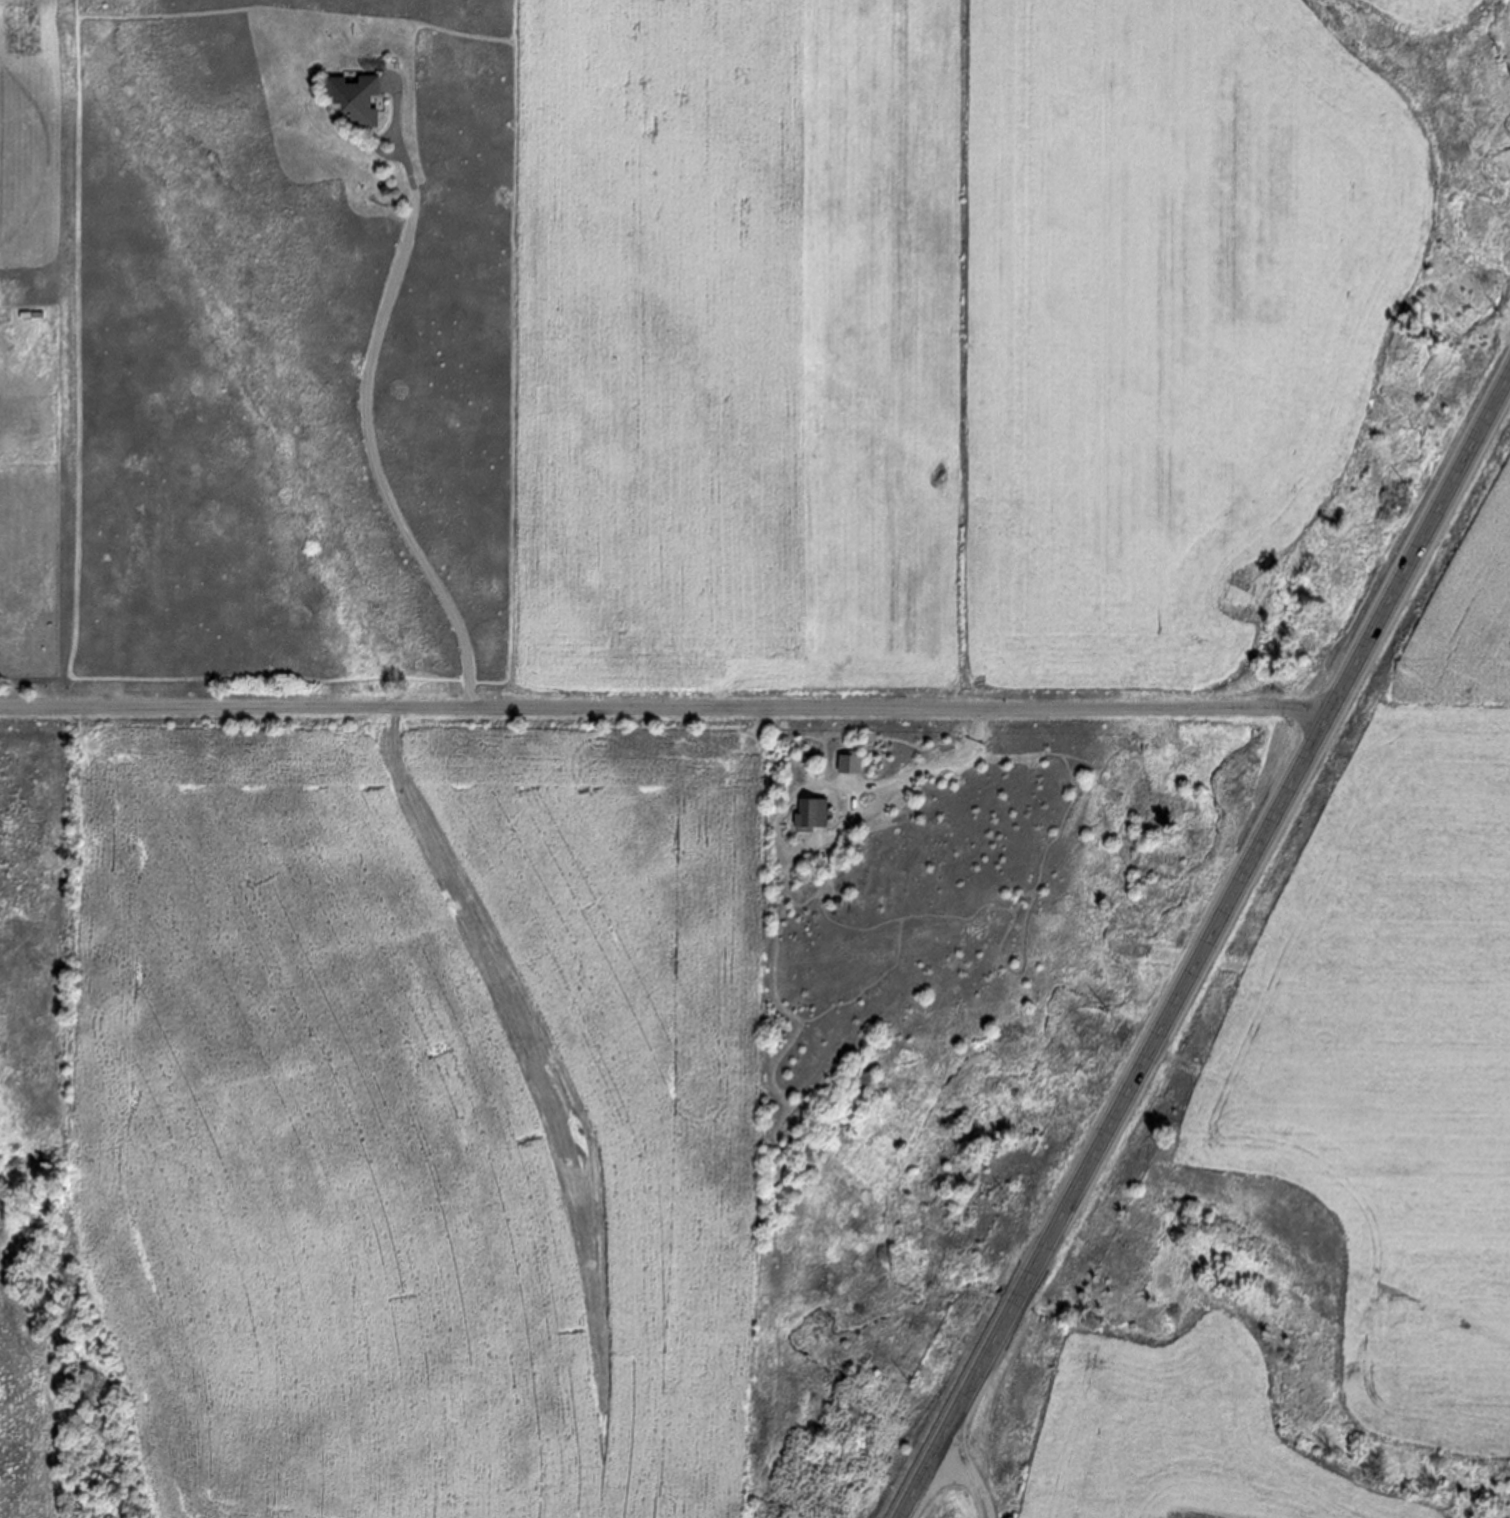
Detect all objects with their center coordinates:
building: (356, 97)
road: (381, 149)
road: (369, 399)
road: (664, 708)
building: (850, 764)
road: (853, 801)
building: (811, 814)
road: (824, 839)
road: (1210, 946)
road: (967, 1478)

